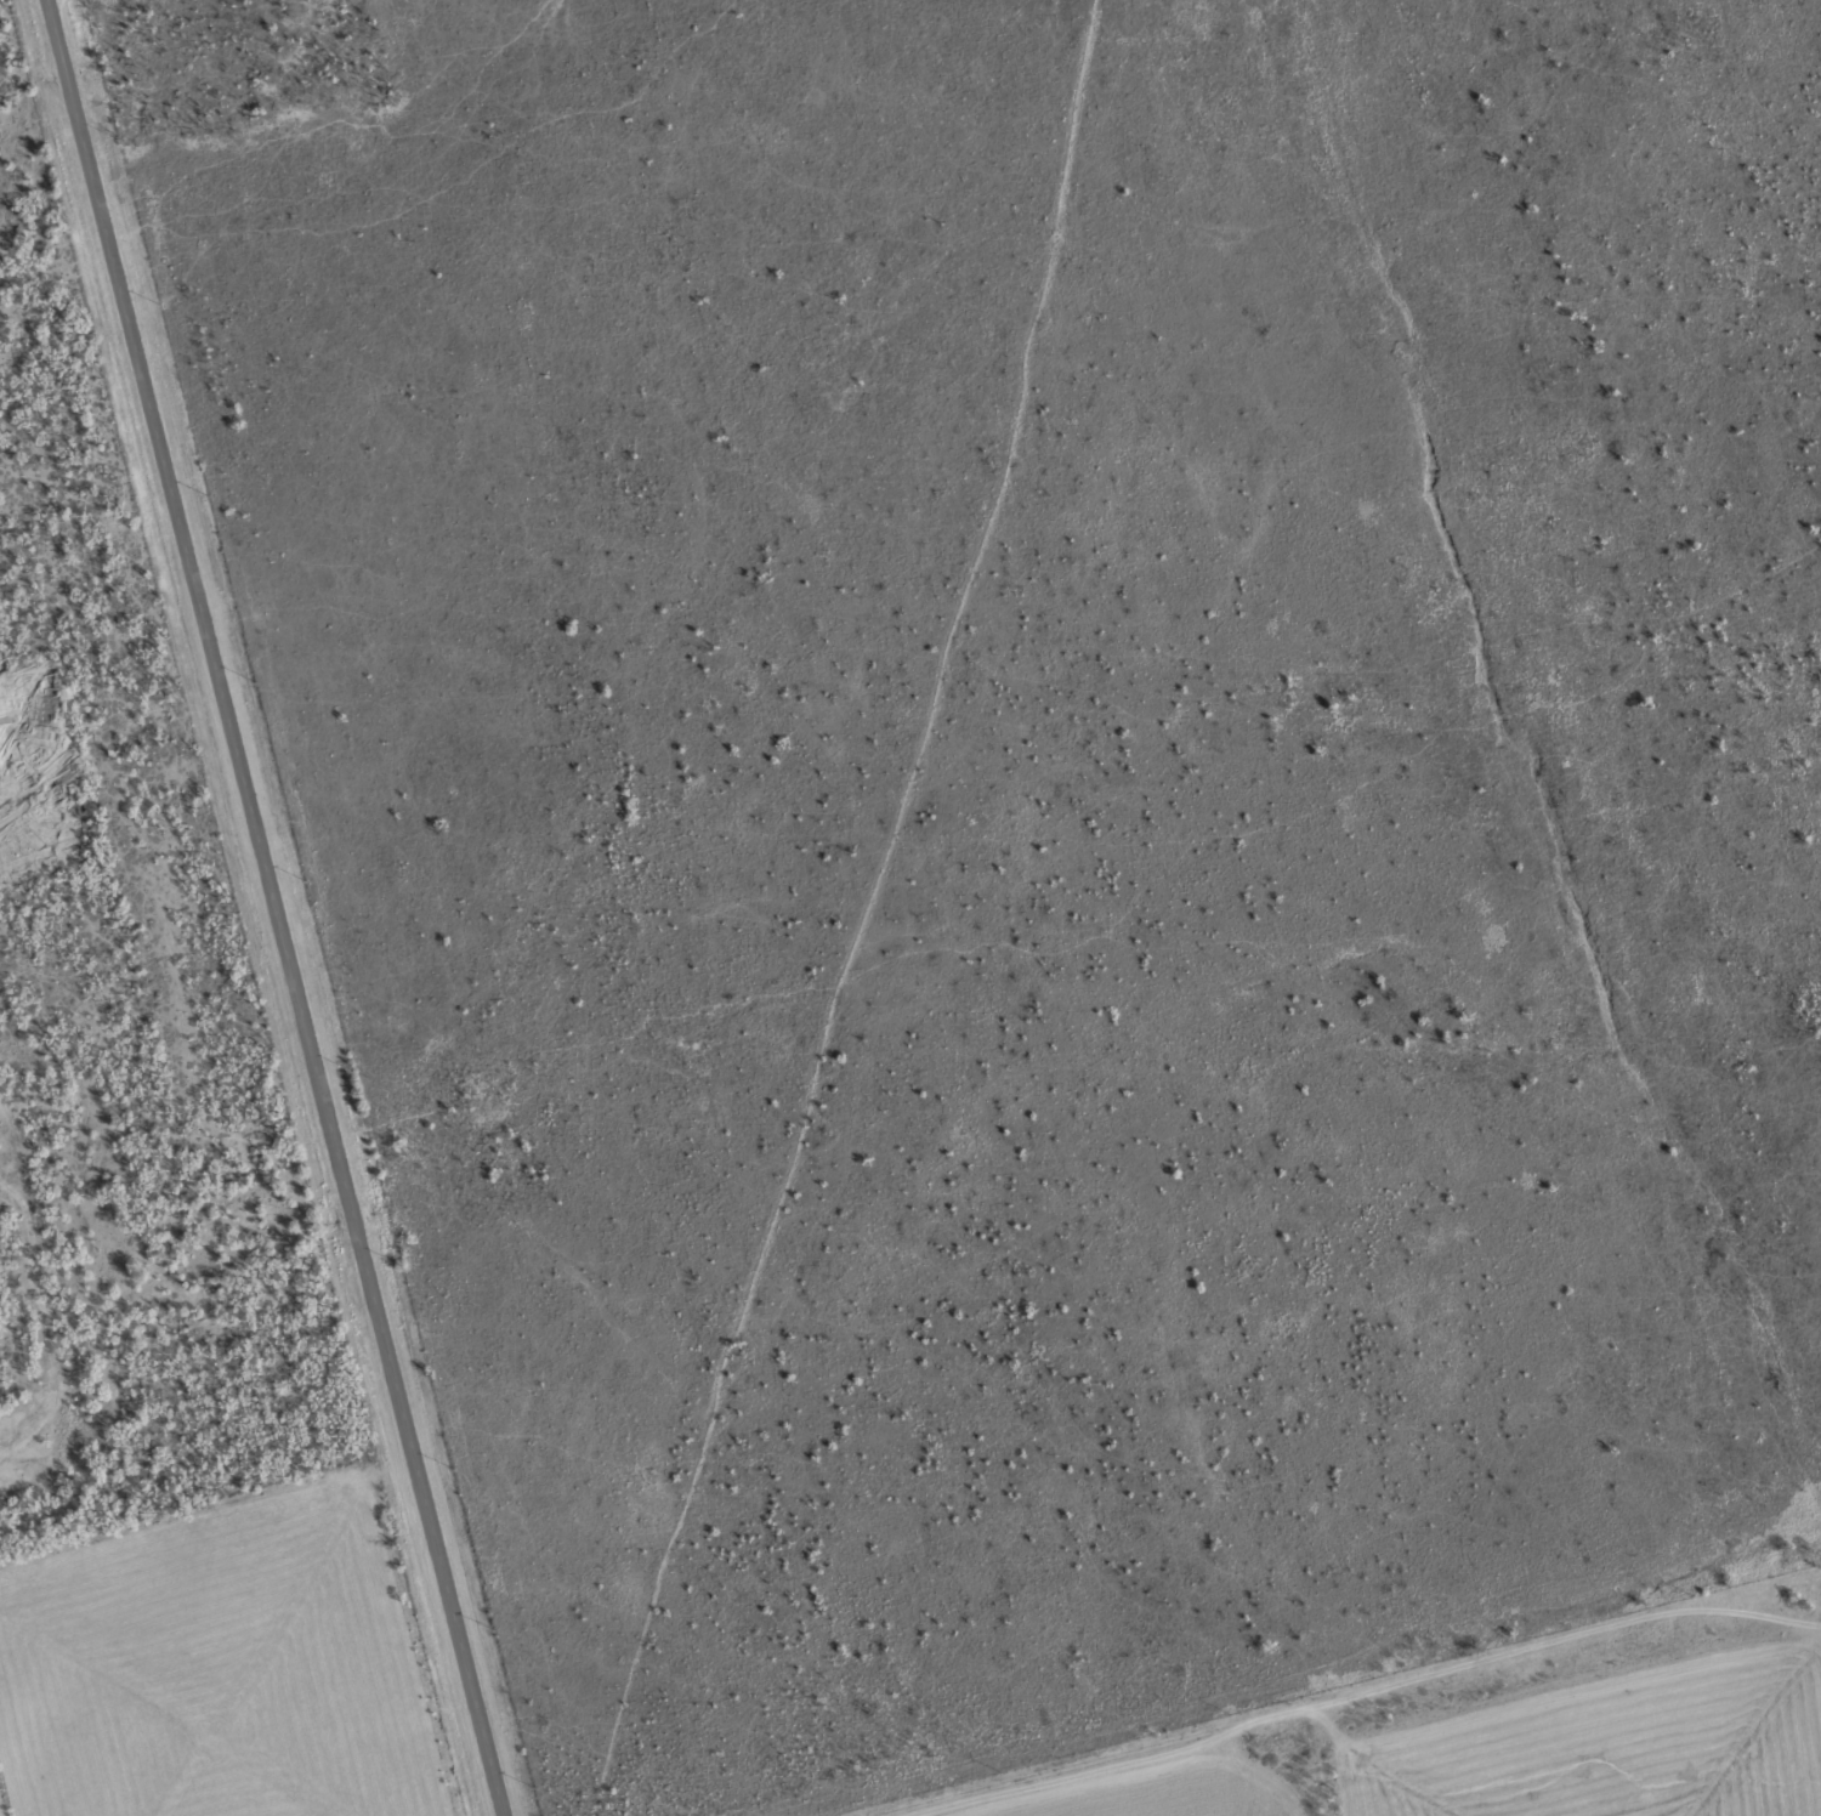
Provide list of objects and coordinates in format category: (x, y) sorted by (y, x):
road: (276, 908)

